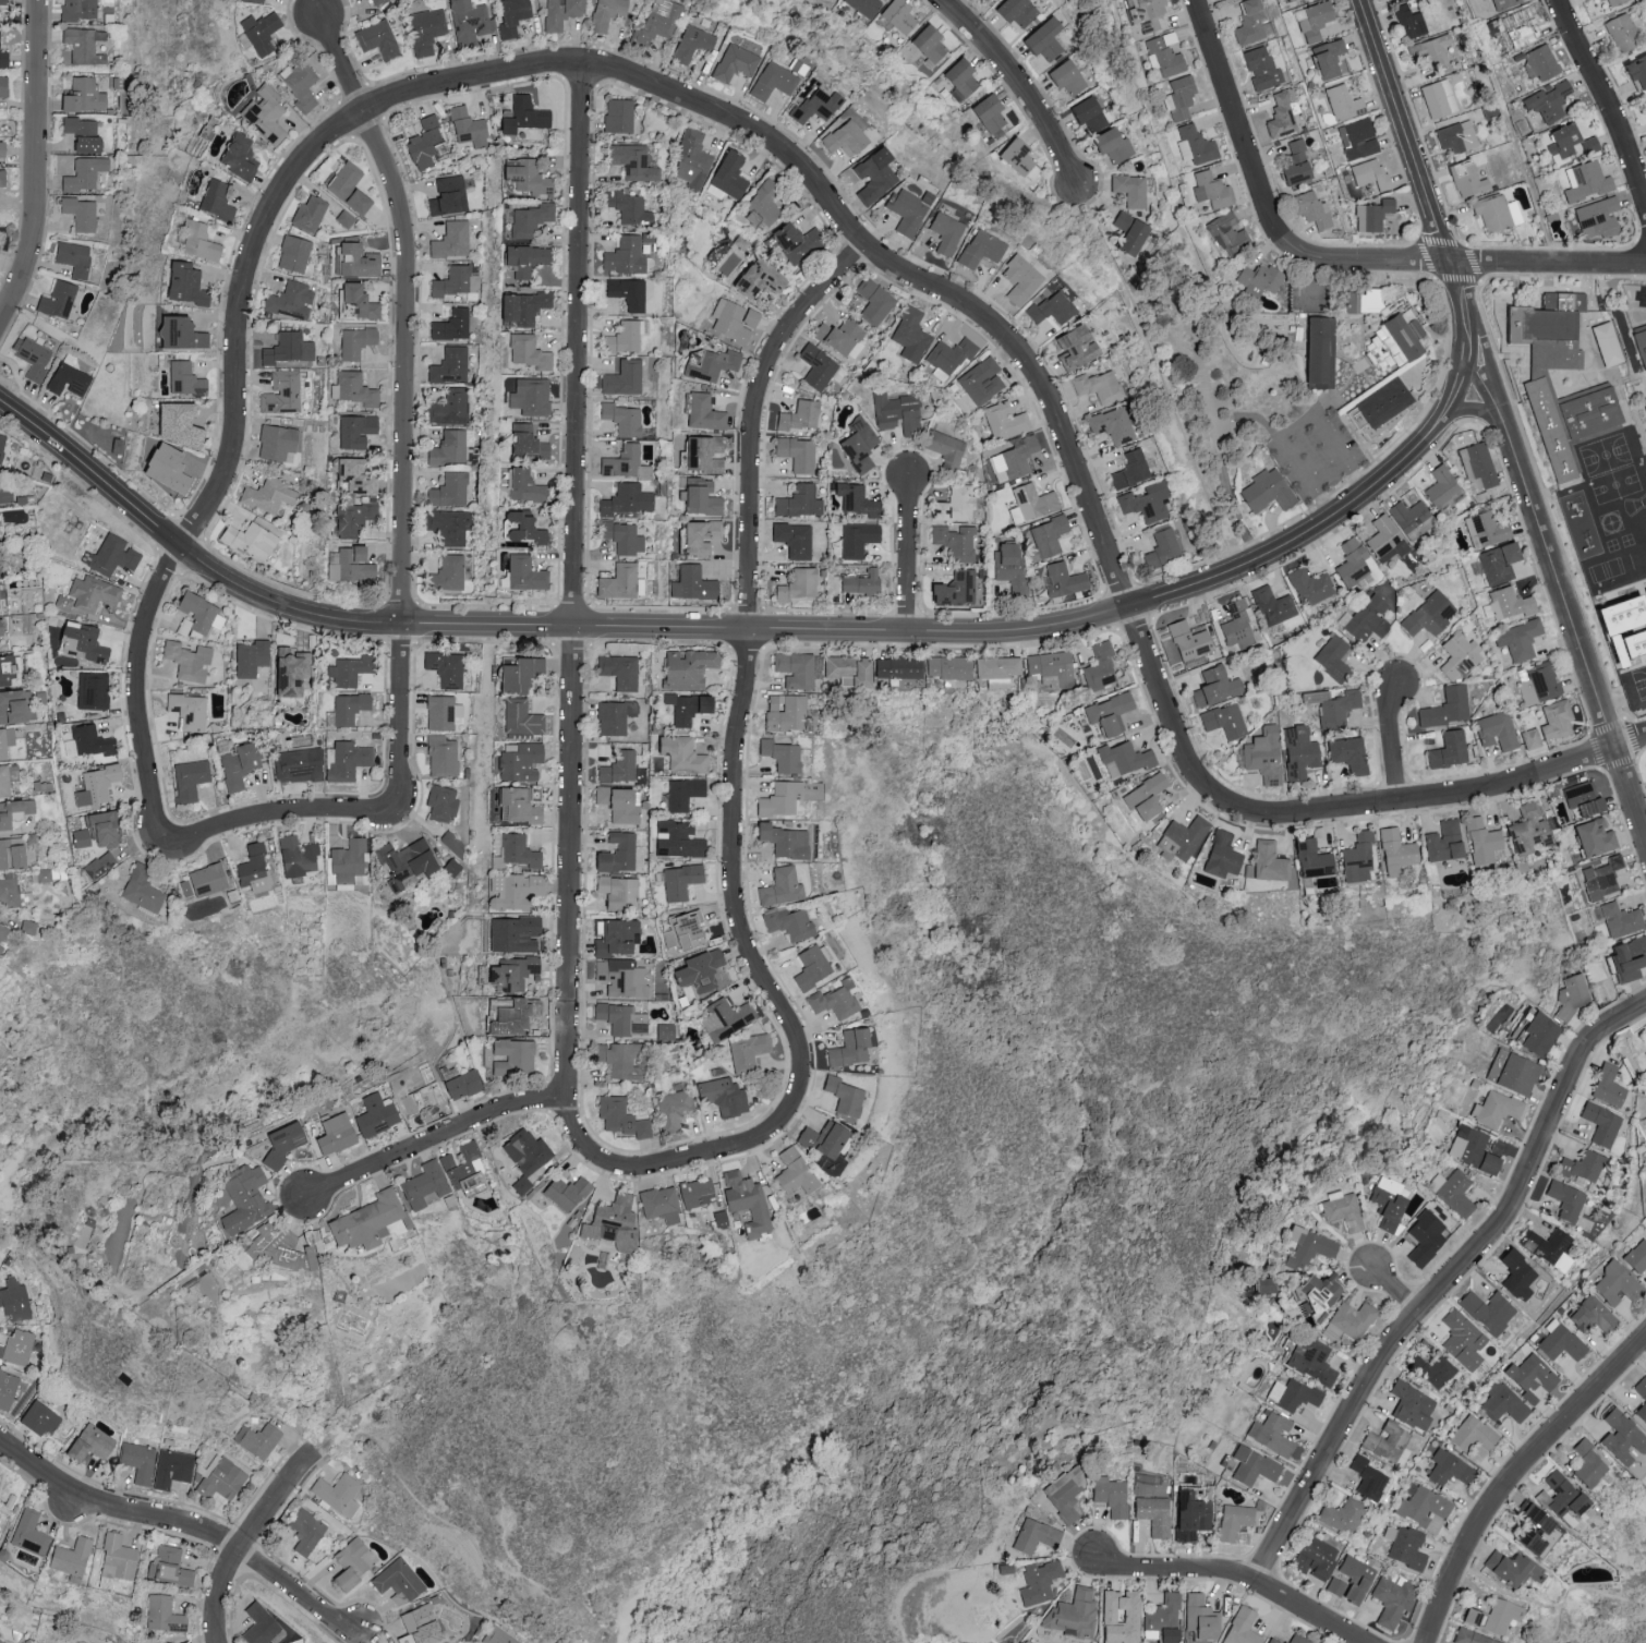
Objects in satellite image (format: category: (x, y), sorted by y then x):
building: (992, 0)
building: (1585, 0)
building: (255, 1)
building: (375, 1)
building: (1614, 1)
building: (4, 2)
building: (1503, 3)
building: (858, 5)
building: (82, 10)
building: (1014, 11)
building: (557, 13)
building: (603, 13)
building: (1146, 13)
building: (509, 15)
building: (895, 15)
building: (467, 21)
building: (1310, 21)
building: (1408, 21)
building: (653, 22)
building: (1248, 22)
building: (1520, 27)
building: (424, 31)
building: (257, 32)
building: (1621, 33)
building: (376, 39)
building: (1041, 39)
building: (688, 44)
building: (924, 44)
building: (85, 45)
building: (1430, 51)
building: (4, 55)
building: (1162, 55)
building: (1324, 59)
building: (1538, 62)
building: (731, 63)
building: (1260, 68)
building: (1635, 72)
building: (957, 76)
building: (1063, 76)
building: (770, 81)
road: (1018, 83)
building: (298, 84)
building: (5, 86)
building: (81, 96)
building: (1437, 98)
building: (1645, 98)
building: (1547, 101)
road: (1607, 102)
building: (1341, 104)
building: (812, 106)
building: (985, 113)
building: (521, 116)
building: (616, 116)
building: (1086, 116)
building: (1281, 116)
building: (262, 118)
building: (76, 125)
road: (1239, 126)
building: (464, 128)
road: (1403, 131)
building: (1454, 136)
building: (842, 138)
building: (1355, 140)
building: (1562, 140)
building: (83, 144)
building: (424, 144)
building: (1109, 144)
building: (1193, 145)
building: (1589, 145)
building: (3, 147)
building: (1014, 156)
building: (234, 157)
building: (690, 159)
road: (33, 160)
building: (630, 162)
building: (63, 165)
building: (1293, 165)
building: (83, 173)
building: (726, 174)
building: (1368, 174)
building: (523, 176)
building: (870, 177)
building: (3, 179)
building: (1464, 179)
building: (1584, 182)
building: (346, 188)
building: (1128, 190)
building: (1210, 190)
building: (446, 195)
building: (214, 201)
road: (832, 203)
building: (760, 204)
building: (627, 208)
building: (1310, 209)
building: (906, 210)
building: (1494, 213)
building: (78, 214)
building: (306, 214)
building: (1373, 215)
building: (1595, 218)
building: (343, 219)
building: (528, 219)
building: (943, 232)
building: (1226, 232)
building: (1127, 233)
building: (449, 240)
building: (794, 241)
building: (195, 242)
building: (977, 250)
building: (291, 254)
building: (624, 256)
building: (73, 258)
building: (521, 259)
road: (1369, 261)
building: (352, 262)
road: (1547, 262)
building: (753, 277)
building: (1017, 279)
building: (1257, 279)
building: (180, 283)
road: (1456, 287)
building: (626, 293)
building: (56, 300)
building: (289, 301)
building: (872, 301)
building: (352, 302)
building: (1348, 302)
building: (518, 307)
building: (1049, 309)
building: (730, 321)
building: (450, 325)
building: (1399, 329)
building: (174, 334)
building: (908, 335)
building: (624, 337)
building: (838, 338)
road: (1467, 339)
building: (1558, 339)
building: (352, 342)
building: (1606, 345)
building: (1643, 345)
building: (1070, 347)
building: (286, 349)
building: (527, 352)
building: (1317, 352)
building: (948, 355)
building: (29, 358)
road: (1490, 362)
building: (710, 364)
building: (448, 365)
building: (818, 369)
building: (66, 377)
building: (621, 378)
building: (182, 379)
building: (979, 379)
building: (351, 389)
road: (1457, 390)
road: (1487, 390)
building: (280, 392)
building: (527, 396)
building: (1644, 402)
road: (403, 407)
building: (448, 408)
building: (1376, 409)
road: (1474, 411)
building: (700, 412)
building: (894, 412)
building: (798, 416)
building: (619, 419)
building: (1003, 421)
building: (170, 424)
building: (1577, 427)
building: (351, 430)
building: (0, 436)
road: (1327, 439)
building: (274, 442)
building: (523, 442)
building: (856, 445)
building: (942, 446)
road: (1285, 446)
building: (795, 454)
building: (1017, 457)
building: (153, 461)
building: (621, 461)
building: (1476, 466)
road: (1223, 468)
building: (1128, 470)
road: (223, 471)
building: (350, 476)
building: (173, 482)
building: (521, 485)
building: (1441, 488)
building: (448, 491)
building: (1264, 491)
building: (5, 493)
building: (266, 495)
building: (697, 497)
building: (854, 499)
building: (625, 500)
building: (797, 503)
building: (1030, 503)
building: (1145, 503)
building: (952, 505)
building: (1409, 519)
building: (350, 520)
building: (447, 528)
building: (521, 529)
building: (1485, 529)
building: (1048, 535)
building: (697, 536)
building: (621, 537)
building: (856, 539)
building: (791, 540)
building: (1384, 540)
building: (249, 541)
building: (953, 542)
building: (1160, 549)
road: (907, 553)
building: (108, 556)
building: (1352, 564)
building: (1496, 564)
building: (344, 566)
building: (1009, 568)
building: (445, 573)
building: (523, 573)
building: (1062, 580)
building: (616, 582)
road: (572, 583)
building: (859, 583)
building: (690, 584)
building: (795, 585)
building: (1309, 587)
building: (952, 589)
building: (1609, 589)
building: (89, 594)
building: (1505, 604)
building: (1271, 606)
building: (197, 615)
building: (1427, 615)
building: (1365, 619)
building: (1237, 624)
road: (719, 626)
building: (1621, 628)
building: (0, 629)
road: (1573, 629)
building: (1517, 640)
building: (1187, 641)
building: (78, 642)
building: (1456, 656)
building: (249, 657)
building: (1331, 657)
building: (186, 661)
building: (893, 667)
building: (944, 667)
building: (1098, 667)
building: (444, 668)
building: (685, 668)
building: (1049, 668)
building: (8, 669)
building: (287, 671)
building: (347, 671)
building: (792, 671)
building: (844, 671)
building: (994, 671)
building: (618, 672)
building: (513, 674)
building: (1538, 686)
building: (1214, 687)
building: (90, 691)
building: (1315, 697)
building: (10, 708)
building: (347, 708)
building: (1445, 708)
building: (685, 709)
building: (1336, 709)
building: (186, 711)
building: (782, 712)
building: (440, 713)
building: (1106, 714)
building: (613, 717)
building: (518, 718)
building: (1554, 720)
building: (1223, 721)
building: (1494, 732)
building: (1529, 739)
road: (1391, 740)
building: (4, 741)
building: (89, 741)
building: (1447, 750)
building: (1297, 752)
building: (678, 754)
building: (778, 756)
building: (1262, 756)
building: (1346, 756)
building: (1645, 756)
building: (440, 757)
building: (346, 760)
building: (1122, 760)
building: (517, 762)
building: (235, 765)
building: (296, 765)
building: (617, 769)
building: (7, 778)
building: (186, 780)
building: (95, 785)
building: (681, 794)
building: (1143, 797)
building: (777, 799)
building: (1580, 799)
building: (439, 804)
building: (618, 805)
building: (512, 806)
road: (735, 809)
road: (1326, 810)
building: (14, 811)
road: (280, 816)
building: (98, 830)
building: (1526, 831)
building: (1590, 837)
building: (77, 838)
building: (1181, 838)
building: (675, 841)
building: (780, 841)
building: (1442, 842)
building: (1480, 842)
building: (451, 843)
building: (1395, 849)
building: (614, 855)
building: (10, 856)
building: (295, 856)
building: (1220, 856)
building: (1310, 860)
building: (1356, 860)
building: (1268, 861)
building: (346, 863)
building: (404, 863)
building: (97, 865)
building: (252, 869)
building: (1600, 879)
building: (201, 881)
building: (679, 882)
building: (779, 887)
building: (140, 890)
building: (512, 891)
building: (617, 893)
building: (1618, 920)
building: (789, 923)
building: (2, 931)
building: (681, 931)
building: (509, 934)
building: (613, 938)
building: (0, 947)
building: (1625, 959)
building: (811, 966)
building: (695, 970)
building: (508, 975)
building: (621, 978)
building: (1572, 995)
building: (832, 1003)
building: (510, 1016)
building: (724, 1018)
building: (619, 1019)
building: (1645, 1032)
building: (1538, 1035)
building: (847, 1049)
building: (1645, 1051)
building: (746, 1052)
building: (509, 1058)
building: (615, 1059)
building: (1512, 1073)
building: (460, 1085)
building: (1606, 1087)
building: (721, 1097)
building: (840, 1097)
building: (417, 1099)
building: (670, 1109)
building: (1494, 1109)
building: (374, 1115)
building: (613, 1115)
building: (1600, 1125)
building: (641, 1129)
building: (330, 1135)
building: (819, 1140)
road: (434, 1143)
building: (279, 1144)
building: (1469, 1149)
building: (523, 1151)
building: (1580, 1167)
building: (461, 1171)
building: (791, 1173)
building: (422, 1186)
building: (564, 1193)
building: (694, 1193)
building: (1451, 1193)
building: (241, 1199)
building: (1564, 1200)
building: (743, 1203)
building: (1387, 1203)
building: (658, 1205)
building: (1341, 1211)
building: (364, 1221)
building: (610, 1224)
park: (943, 1230)
building: (1424, 1239)
building: (1305, 1248)
building: (1547, 1248)
building: (290, 1255)
building: (1636, 1257)
building: (1515, 1276)
building: (1614, 1284)
building: (1260, 1286)
road: (1443, 1288)
building: (1314, 1291)
road: (1396, 1293)
building: (15, 1300)
building: (1486, 1312)
building: (1589, 1315)
building: (1351, 1320)
building: (1461, 1340)
building: (1560, 1344)
building: (17, 1348)
building: (1309, 1361)
building: (1430, 1372)
building: (1529, 1376)
building: (9, 1389)
building: (1290, 1396)
building: (1501, 1403)
building: (1409, 1406)
building: (1642, 1408)
building: (44, 1418)
building: (1269, 1435)
building: (1472, 1435)
building: (1621, 1439)
building: (263, 1440)
building: (94, 1443)
building: (1387, 1443)
building: (138, 1461)
building: (1226, 1462)
building: (1586, 1464)
building: (1250, 1467)
building: (173, 1469)
building: (1447, 1469)
building: (1366, 1478)
building: (225, 1479)
road: (1516, 1479)
building: (340, 1494)
building: (1062, 1496)
building: (1559, 1497)
building: (1110, 1499)
building: (1424, 1509)
building: (1152, 1515)
building: (1188, 1515)
building: (1341, 1517)
road: (183, 1523)
building: (1234, 1525)
building: (32, 1532)
building: (308, 1532)
building: (1533, 1534)
building: (1032, 1536)
road: (247, 1542)
building: (1403, 1547)
building: (73, 1558)
building: (1312, 1558)
building: (119, 1560)
building: (355, 1562)
building: (172, 1567)
building: (1505, 1569)
road: (1232, 1576)
building: (400, 1580)
building: (1350, 1581)
building: (1037, 1582)
road: (1595, 1594)
building: (1391, 1600)
building: (1070, 1614)
building: (165, 1615)
building: (1118, 1617)
building: (1198, 1617)
building: (420, 1618)
building: (1162, 1618)
building: (1491, 1618)
building: (262, 1624)
building: (1239, 1627)
road: (1554, 1628)
park: (1636, 1630)
building: (1468, 1638)
building: (1296, 1639)
building: (2, 1641)
building: (1271, 1641)
building: (172, 1642)

